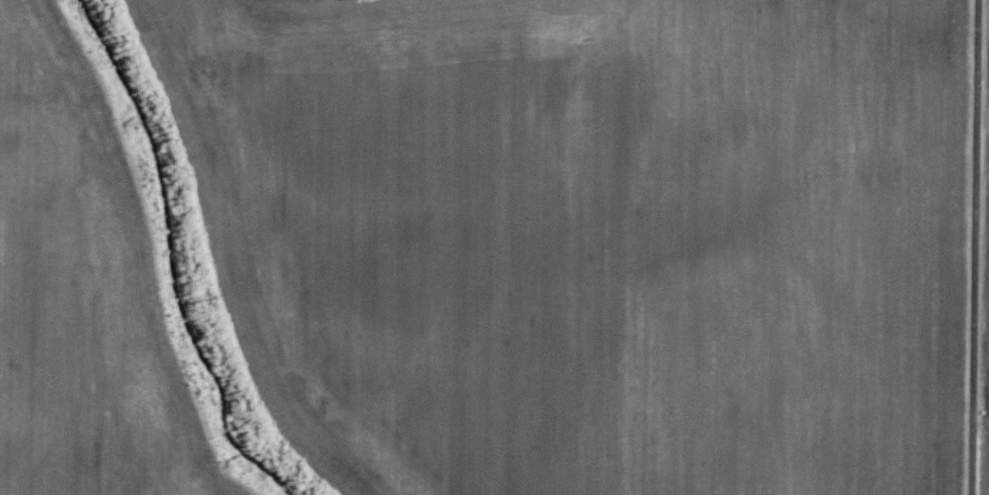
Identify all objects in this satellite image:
road: (976, 247)

